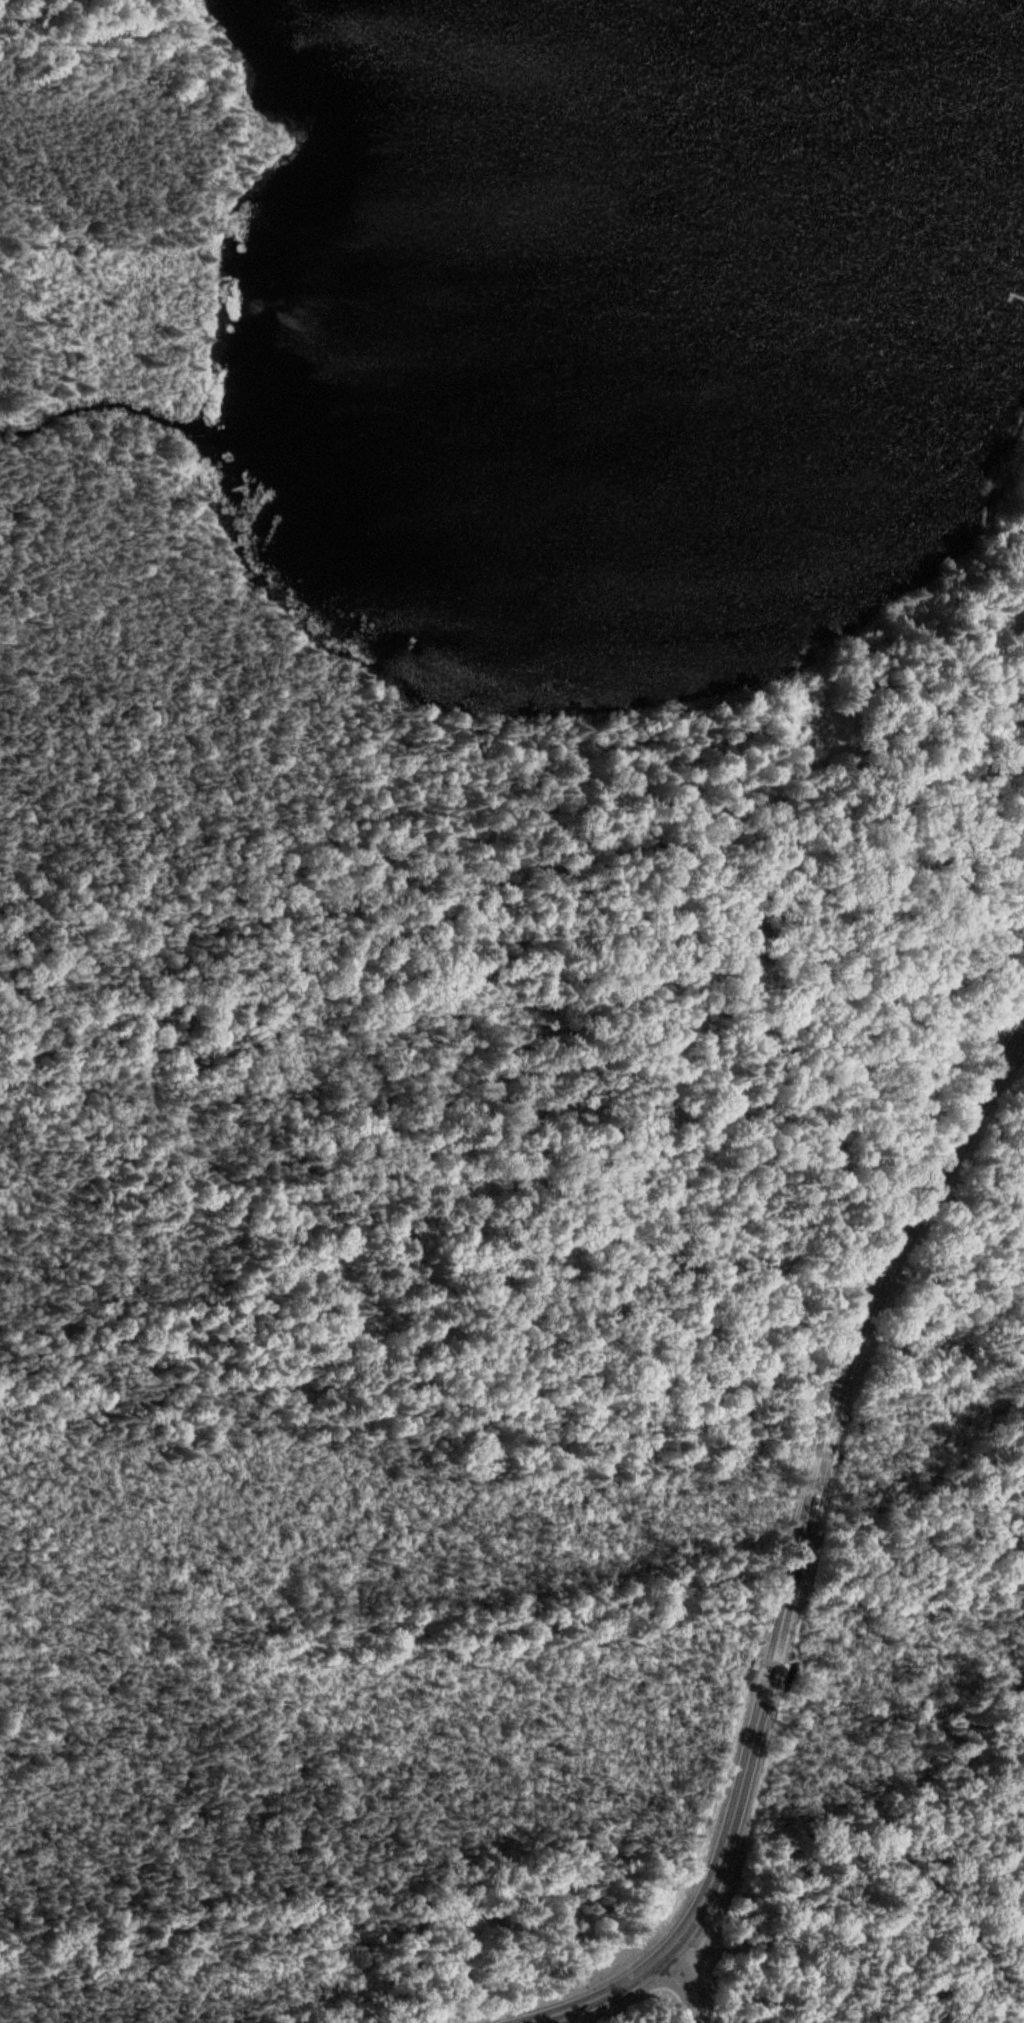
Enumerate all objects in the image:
road: (797, 1554)
road: (987, 1920)
road: (813, 1937)
road: (688, 1985)

